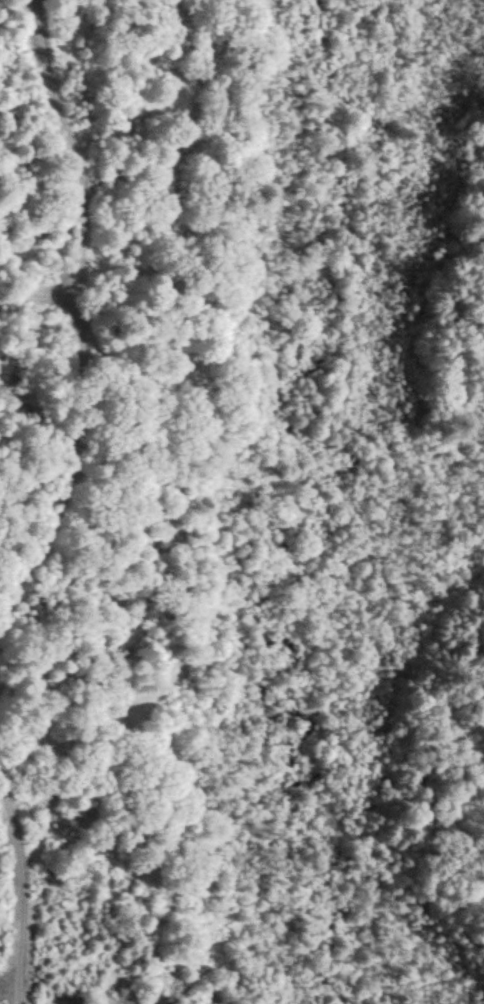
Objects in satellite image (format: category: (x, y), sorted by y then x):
road: (77, 180)
road: (65, 462)
road: (26, 880)

